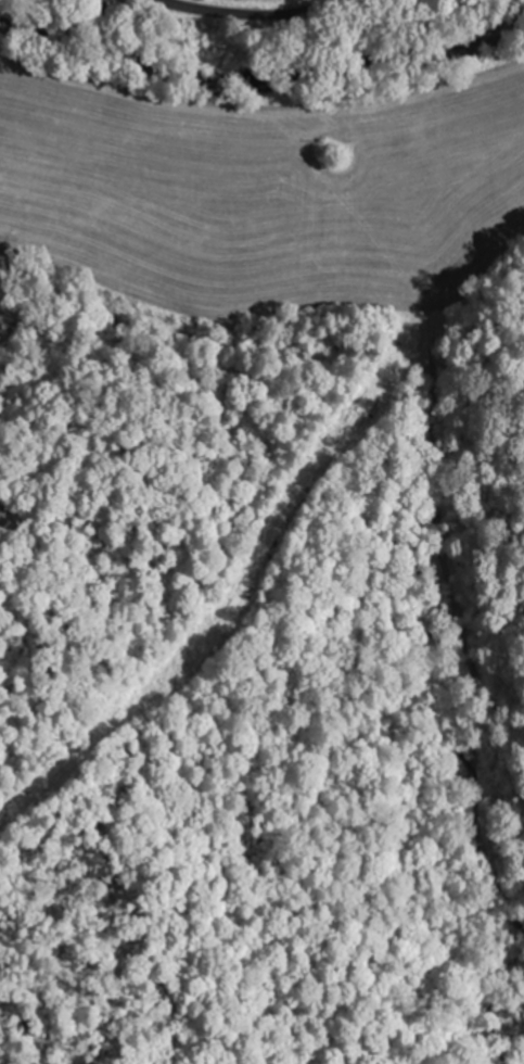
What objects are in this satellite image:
road: (195, 5)
road: (278, 14)

